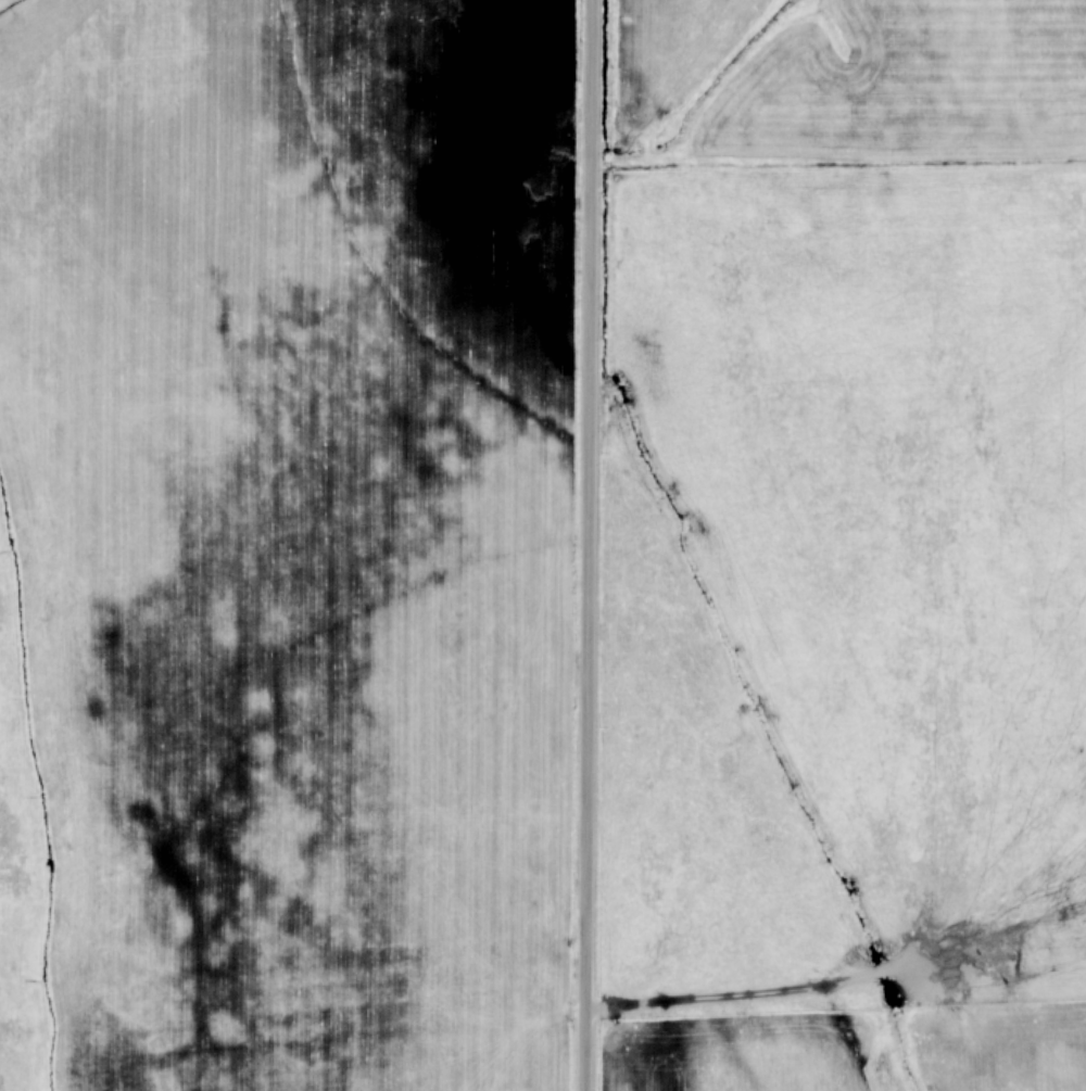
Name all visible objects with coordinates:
road: (622, 545)

